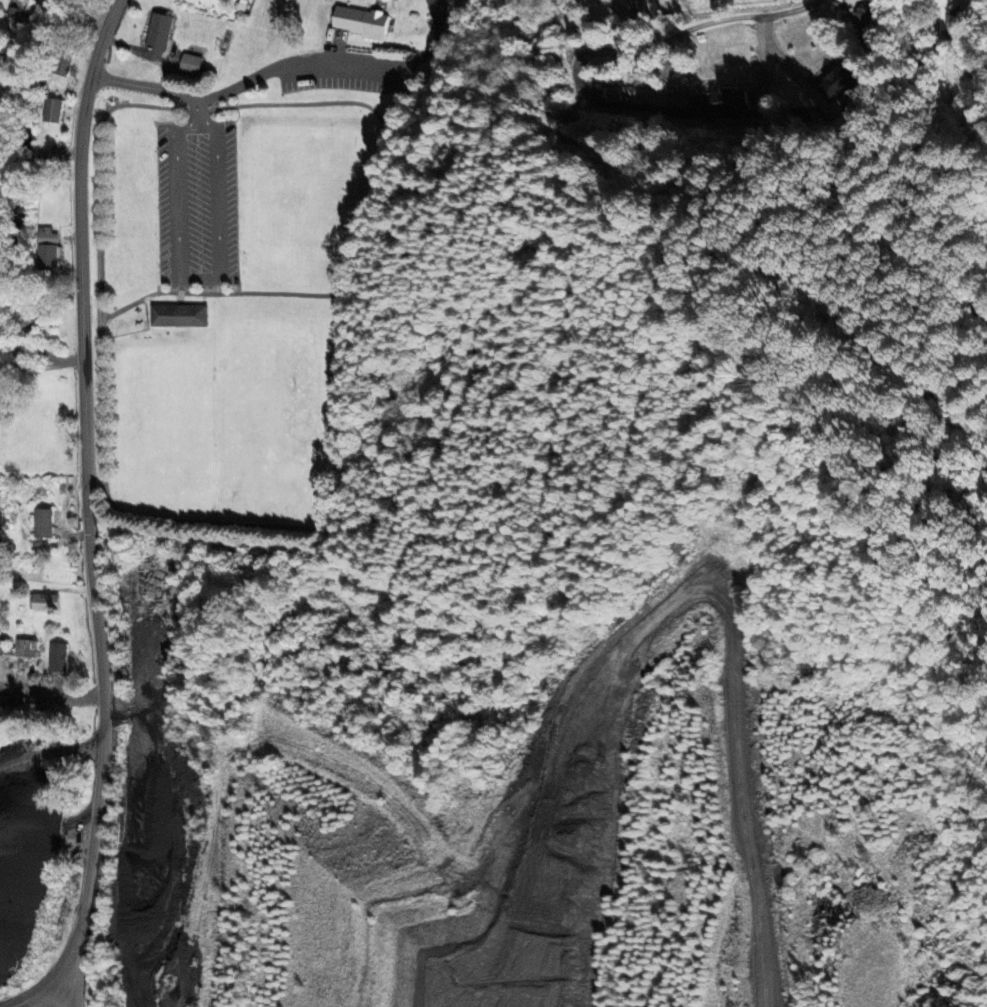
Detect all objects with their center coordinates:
building: (34, 6)
road: (789, 10)
building: (360, 21)
building: (862, 21)
building: (952, 25)
building: (157, 35)
road: (433, 40)
building: (189, 63)
road: (782, 63)
building: (837, 82)
road: (245, 83)
road: (592, 99)
building: (728, 99)
building: (52, 109)
road: (201, 111)
building: (46, 235)
building: (46, 256)
road: (195, 281)
building: (177, 315)
building: (27, 325)
road: (45, 373)
road: (96, 501)
building: (42, 522)
building: (43, 602)
road: (730, 638)
building: (24, 648)
building: (57, 657)
road: (52, 695)
road: (62, 821)
quarry: (464, 917)
road: (48, 997)

